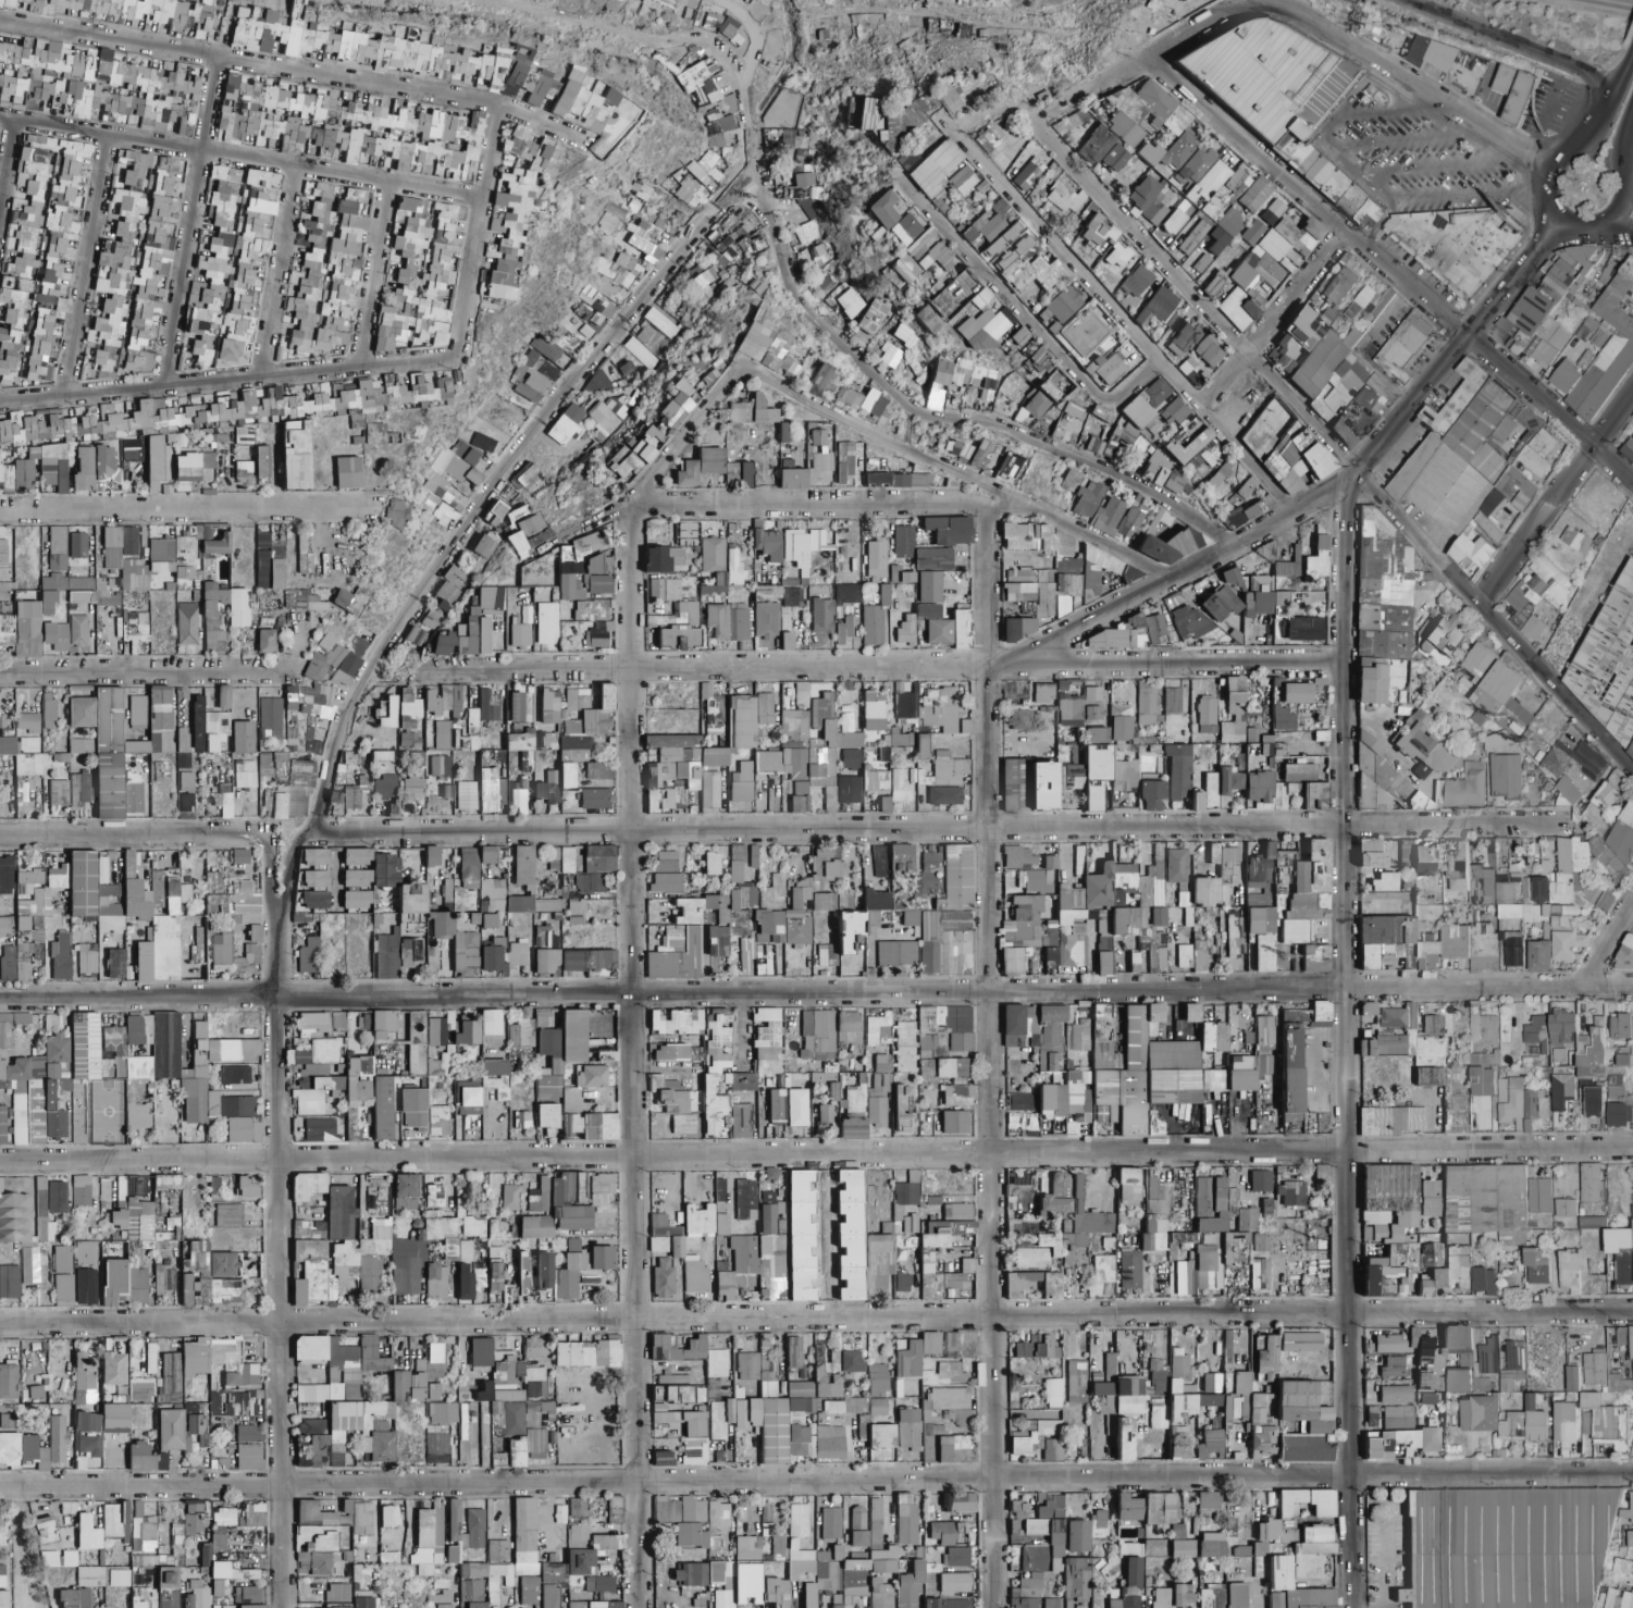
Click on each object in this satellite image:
park: (1593, 156)

